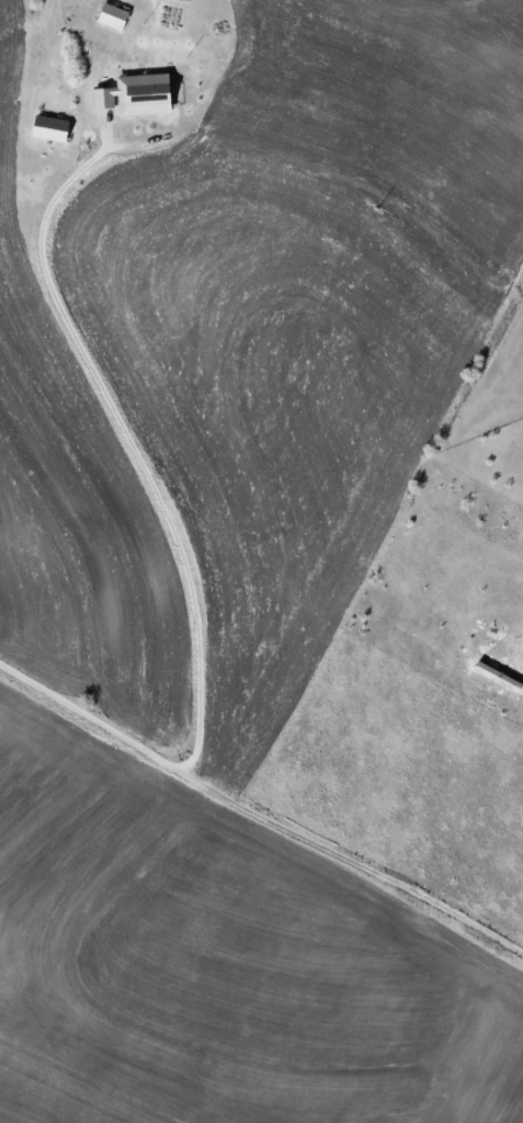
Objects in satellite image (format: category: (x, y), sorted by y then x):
building: (115, 15)
building: (139, 94)
building: (53, 127)
road: (150, 461)
road: (259, 812)

